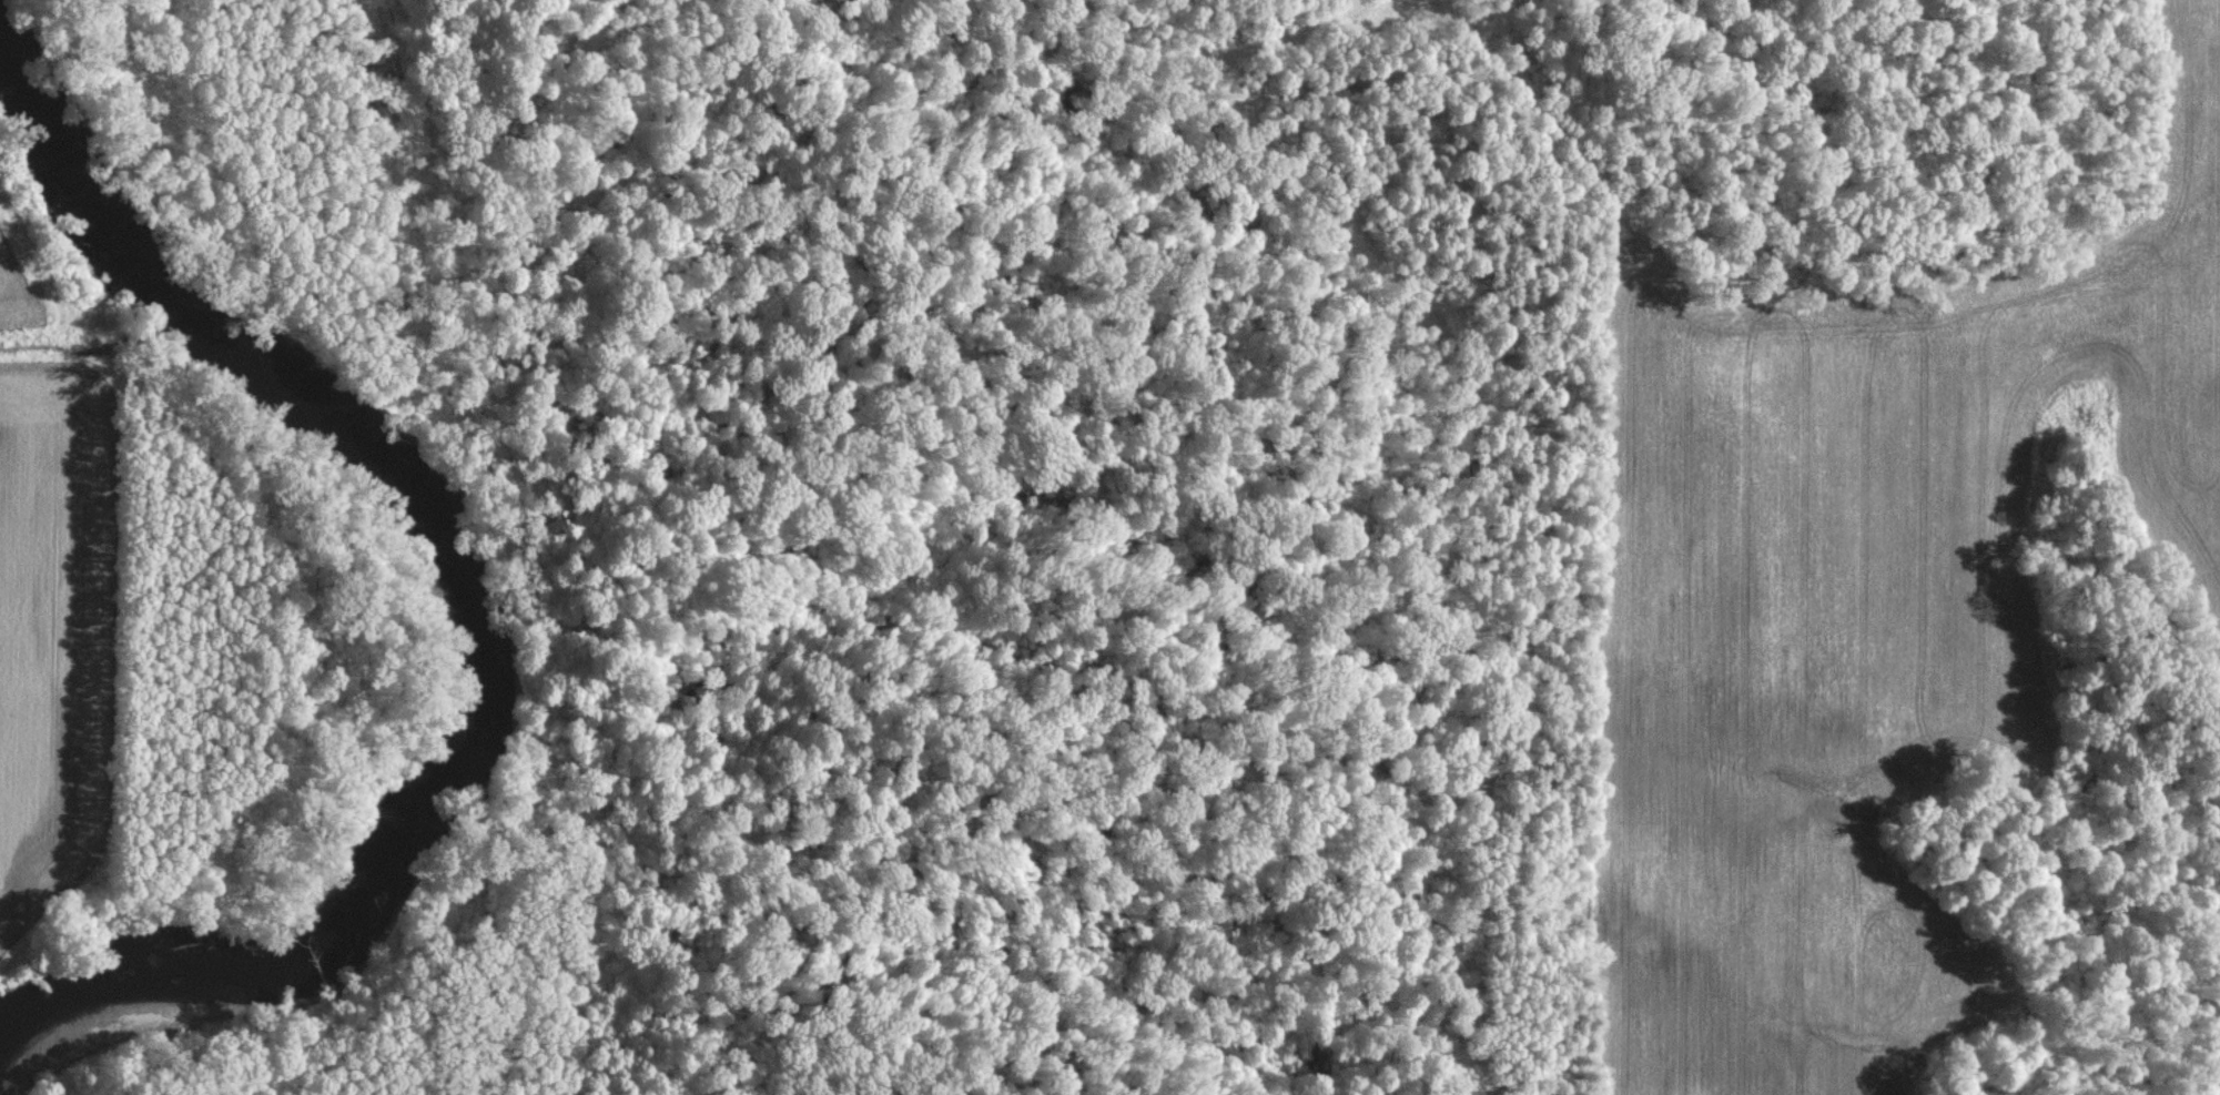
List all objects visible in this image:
river: (467, 601)

